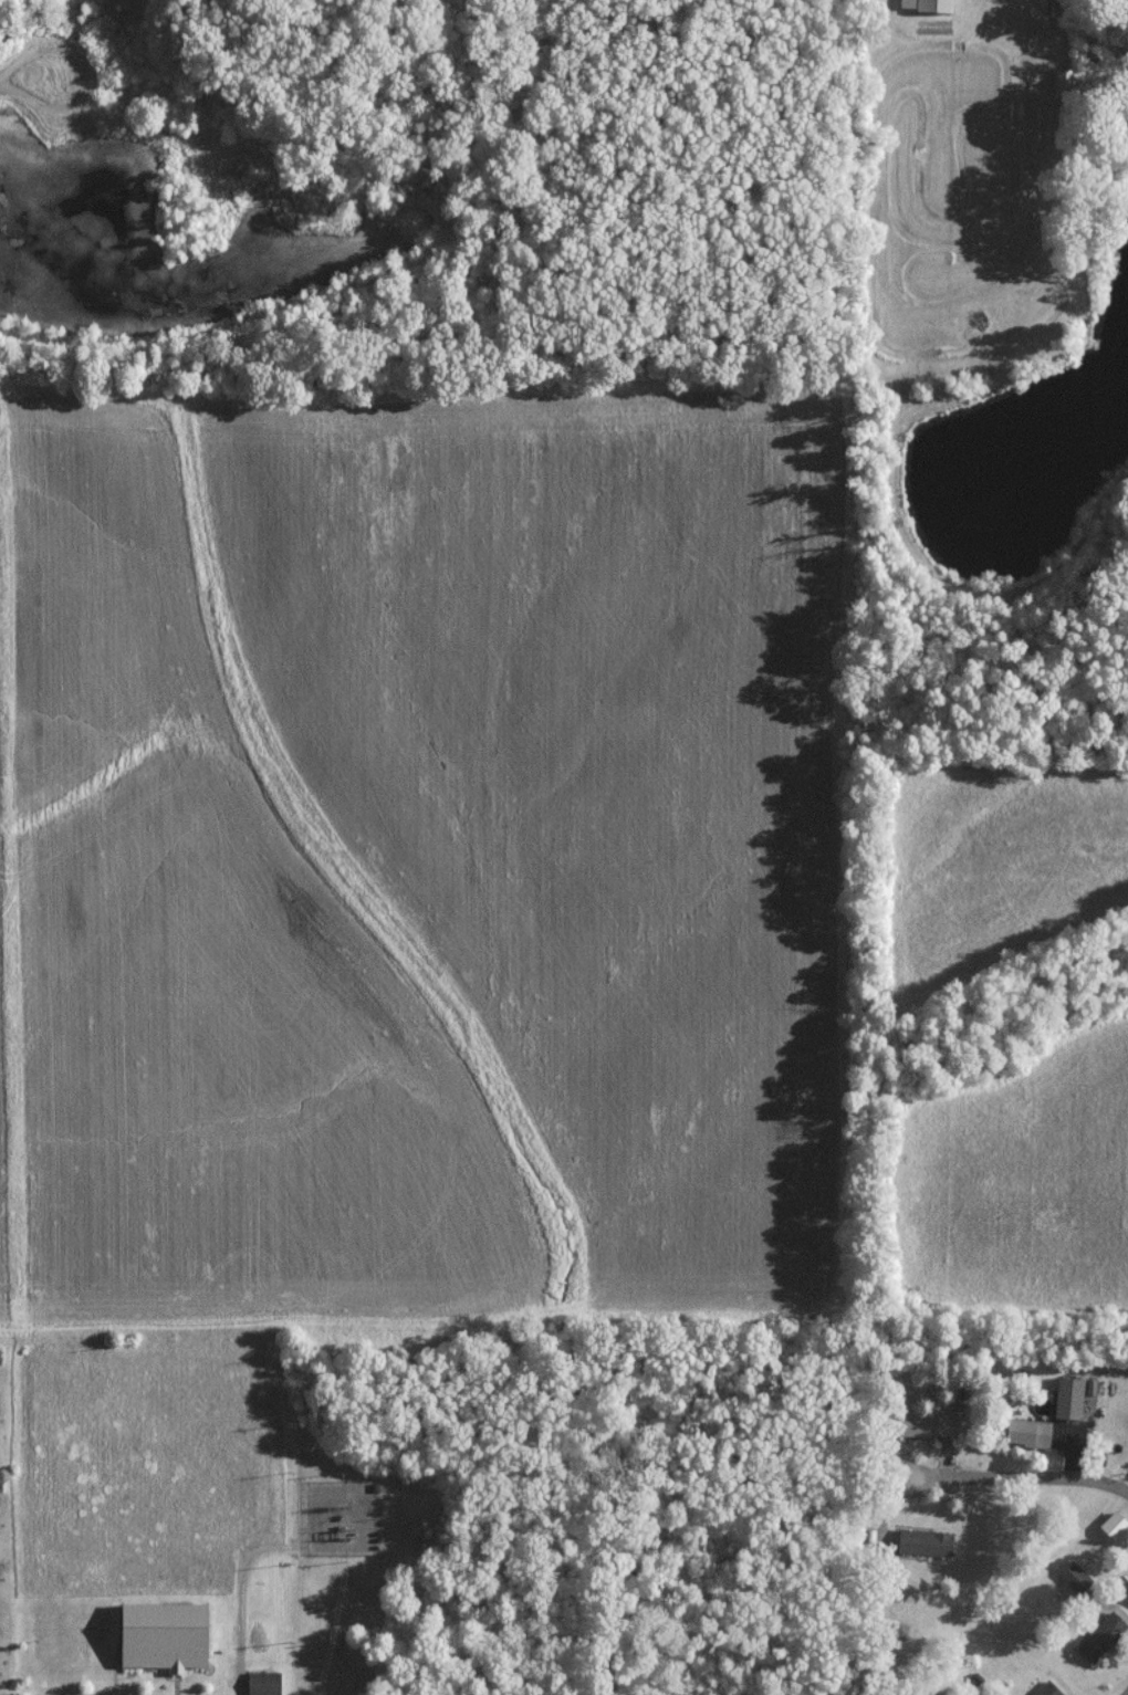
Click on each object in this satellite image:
building: (926, 4)
building: (1062, 80)
track: (955, 206)
building: (1067, 1398)
building: (925, 1423)
building: (1025, 1431)
road: (1026, 1477)
power substation: (345, 1518)
building: (1111, 1525)
building: (922, 1541)
building: (1070, 1573)
building: (1126, 1591)
building: (158, 1634)
building: (1100, 1635)
building: (98, 1654)
building: (261, 1683)
building: (1046, 1688)
road: (1126, 1693)

